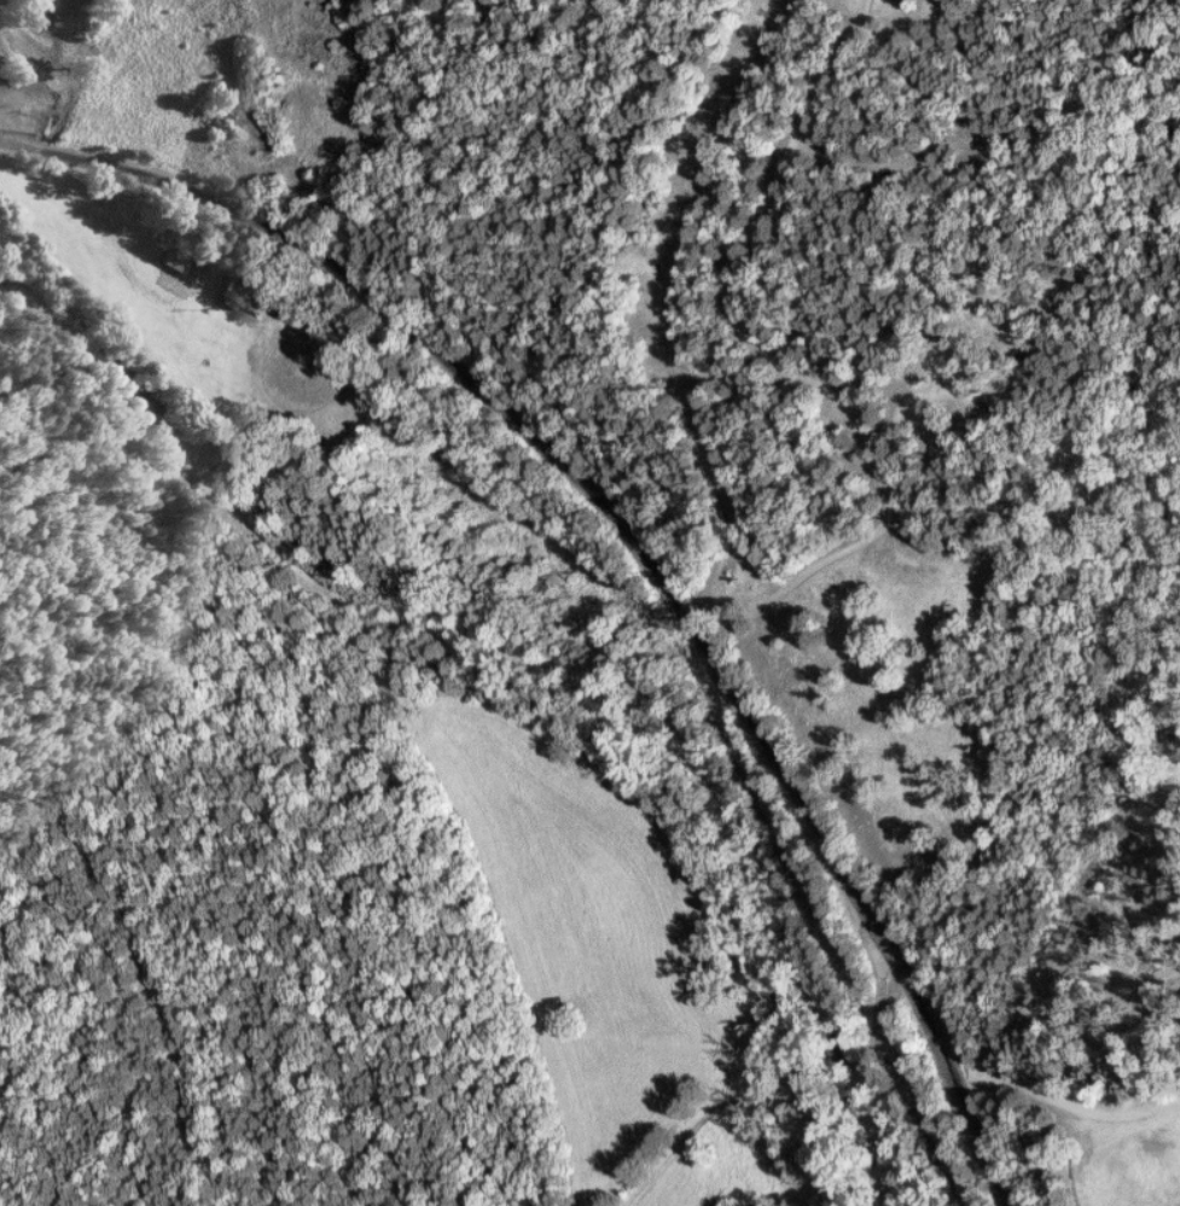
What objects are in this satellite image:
road: (1, 6)
road: (63, 156)
building: (178, 260)
road: (138, 278)
building: (236, 295)
road: (800, 365)
road: (676, 588)
road: (778, 1085)
road: (1070, 1105)

